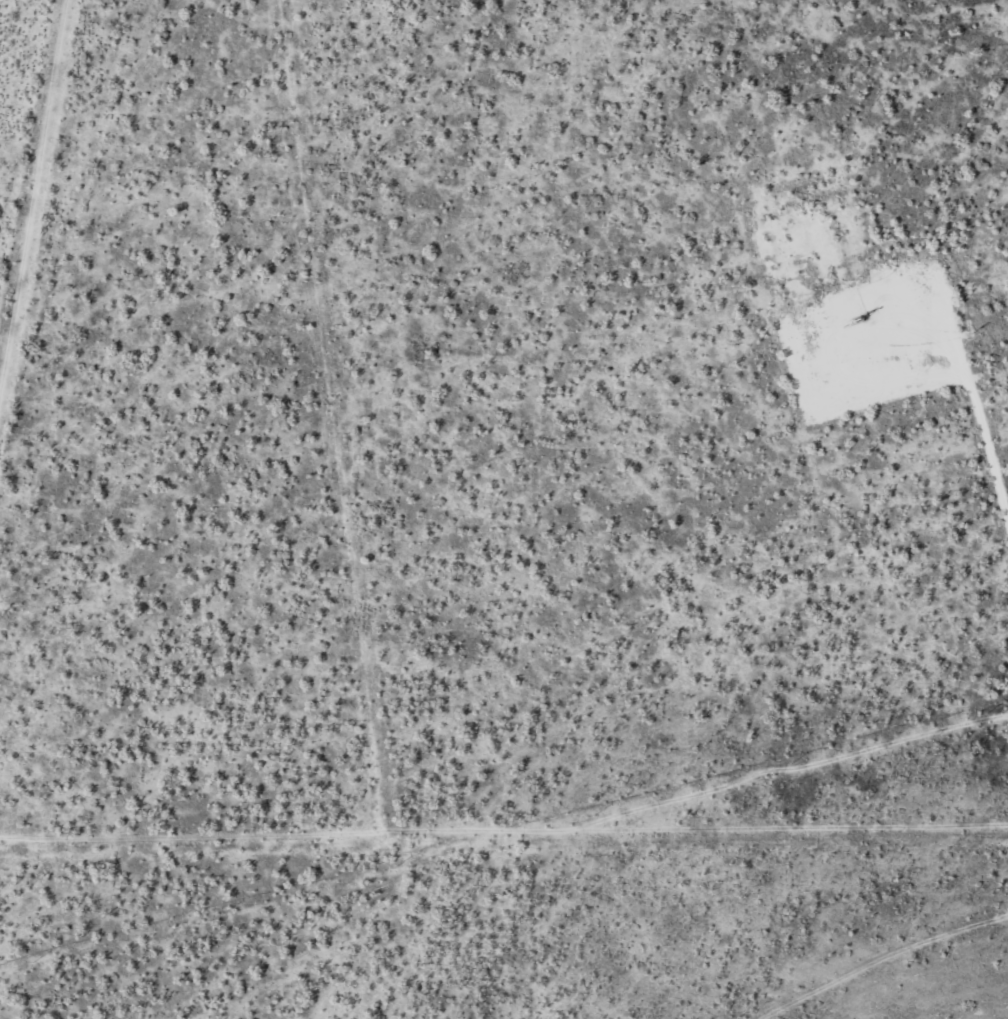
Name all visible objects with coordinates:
road: (82, 261)
road: (919, 990)

